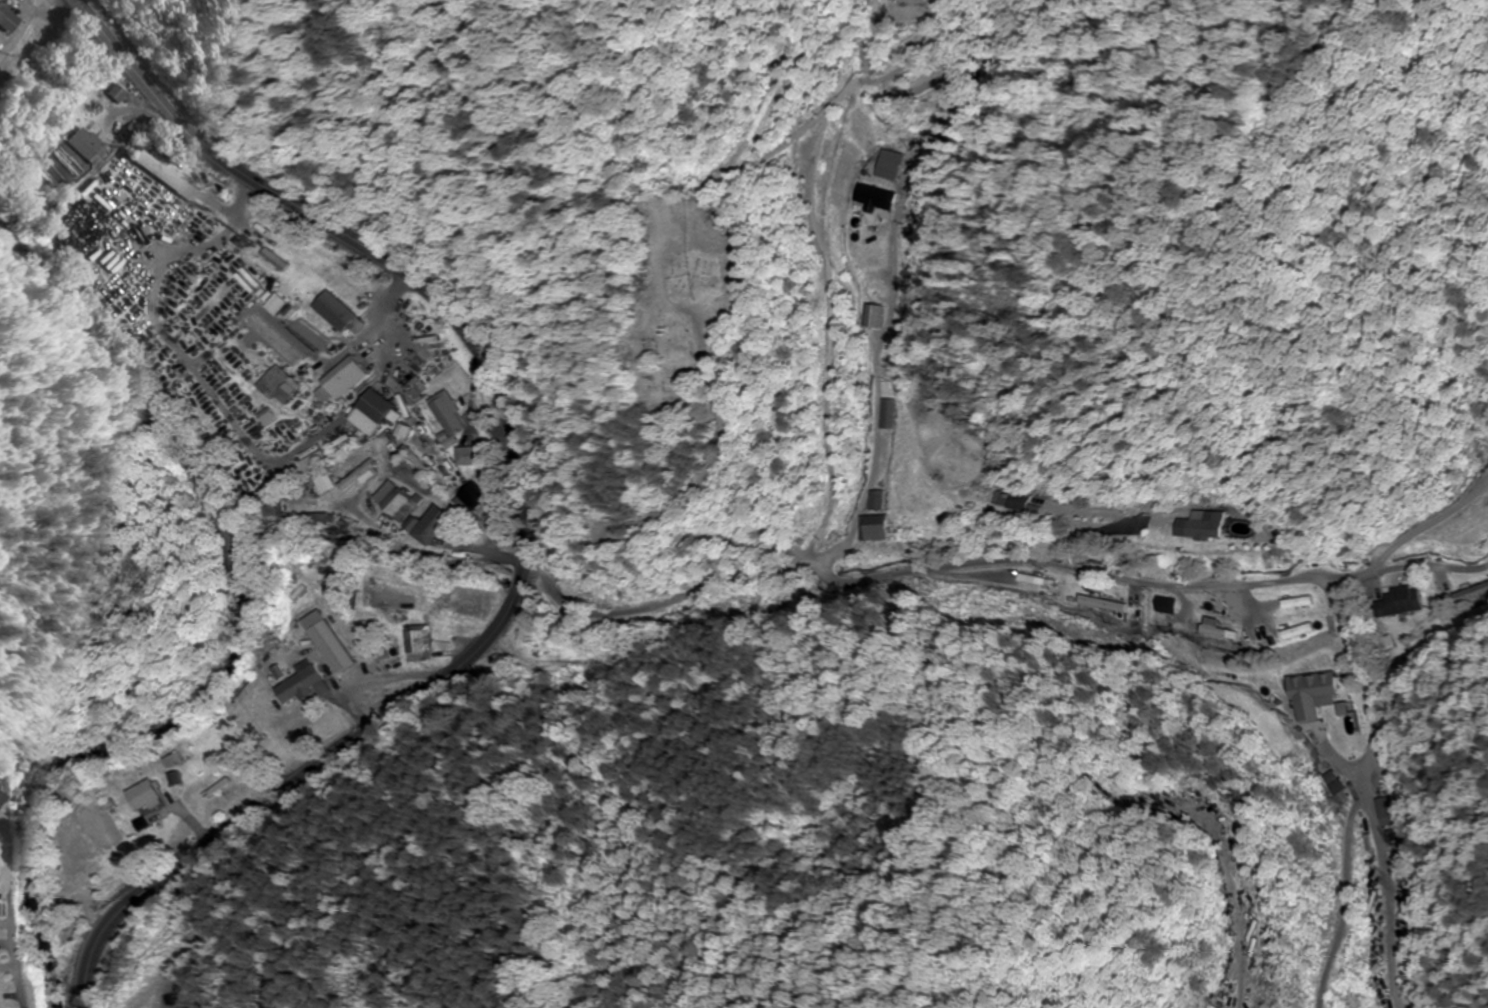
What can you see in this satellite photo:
building: (7, 18)
building: (120, 94)
road: (1338, 120)
building: (87, 145)
building: (162, 174)
road: (876, 270)
building: (272, 304)
building: (333, 312)
building: (870, 316)
building: (337, 379)
building: (276, 385)
building: (443, 412)
building: (370, 413)
building: (884, 413)
building: (466, 455)
building: (316, 472)
building: (470, 495)
building: (877, 499)
building: (1017, 500)
building: (392, 502)
road: (523, 510)
building: (428, 524)
building: (1202, 526)
building: (874, 527)
road: (988, 562)
building: (1401, 602)
building: (1165, 605)
building: (1216, 629)
building: (1299, 631)
building: (415, 643)
building: (304, 680)
building: (1321, 684)
building: (164, 761)
building: (141, 796)
building: (1, 798)
building: (1385, 811)
road: (19, 865)

